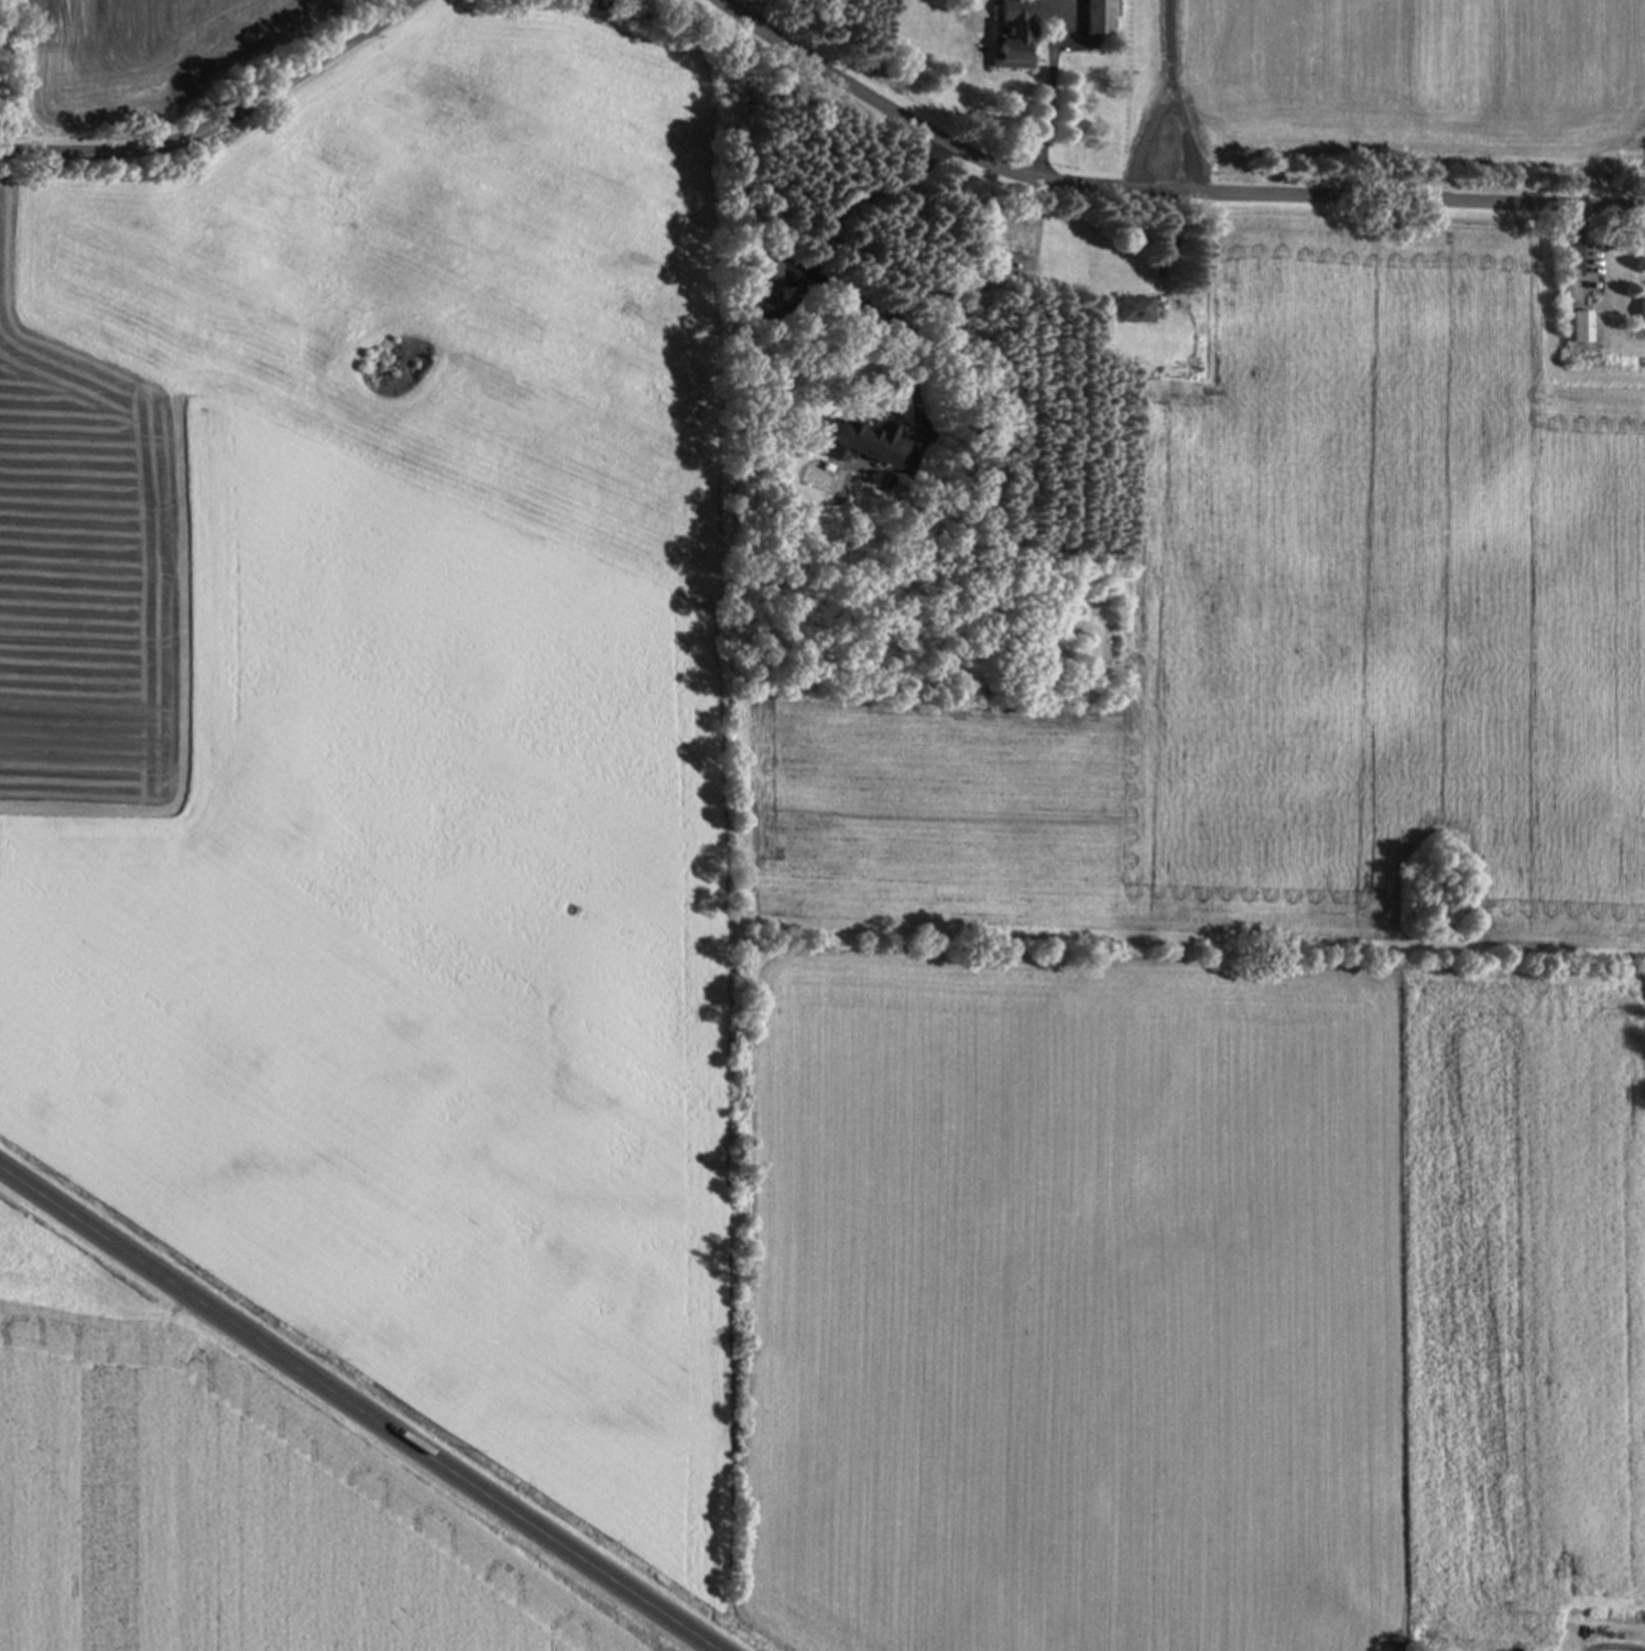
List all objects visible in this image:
building: (1093, 17)
building: (1010, 33)
road: (1050, 95)
road: (219, 116)
road: (1157, 188)
building: (996, 263)
building: (767, 281)
building: (1131, 307)
building: (1638, 309)
building: (1579, 325)
building: (857, 444)
road: (358, 1411)

